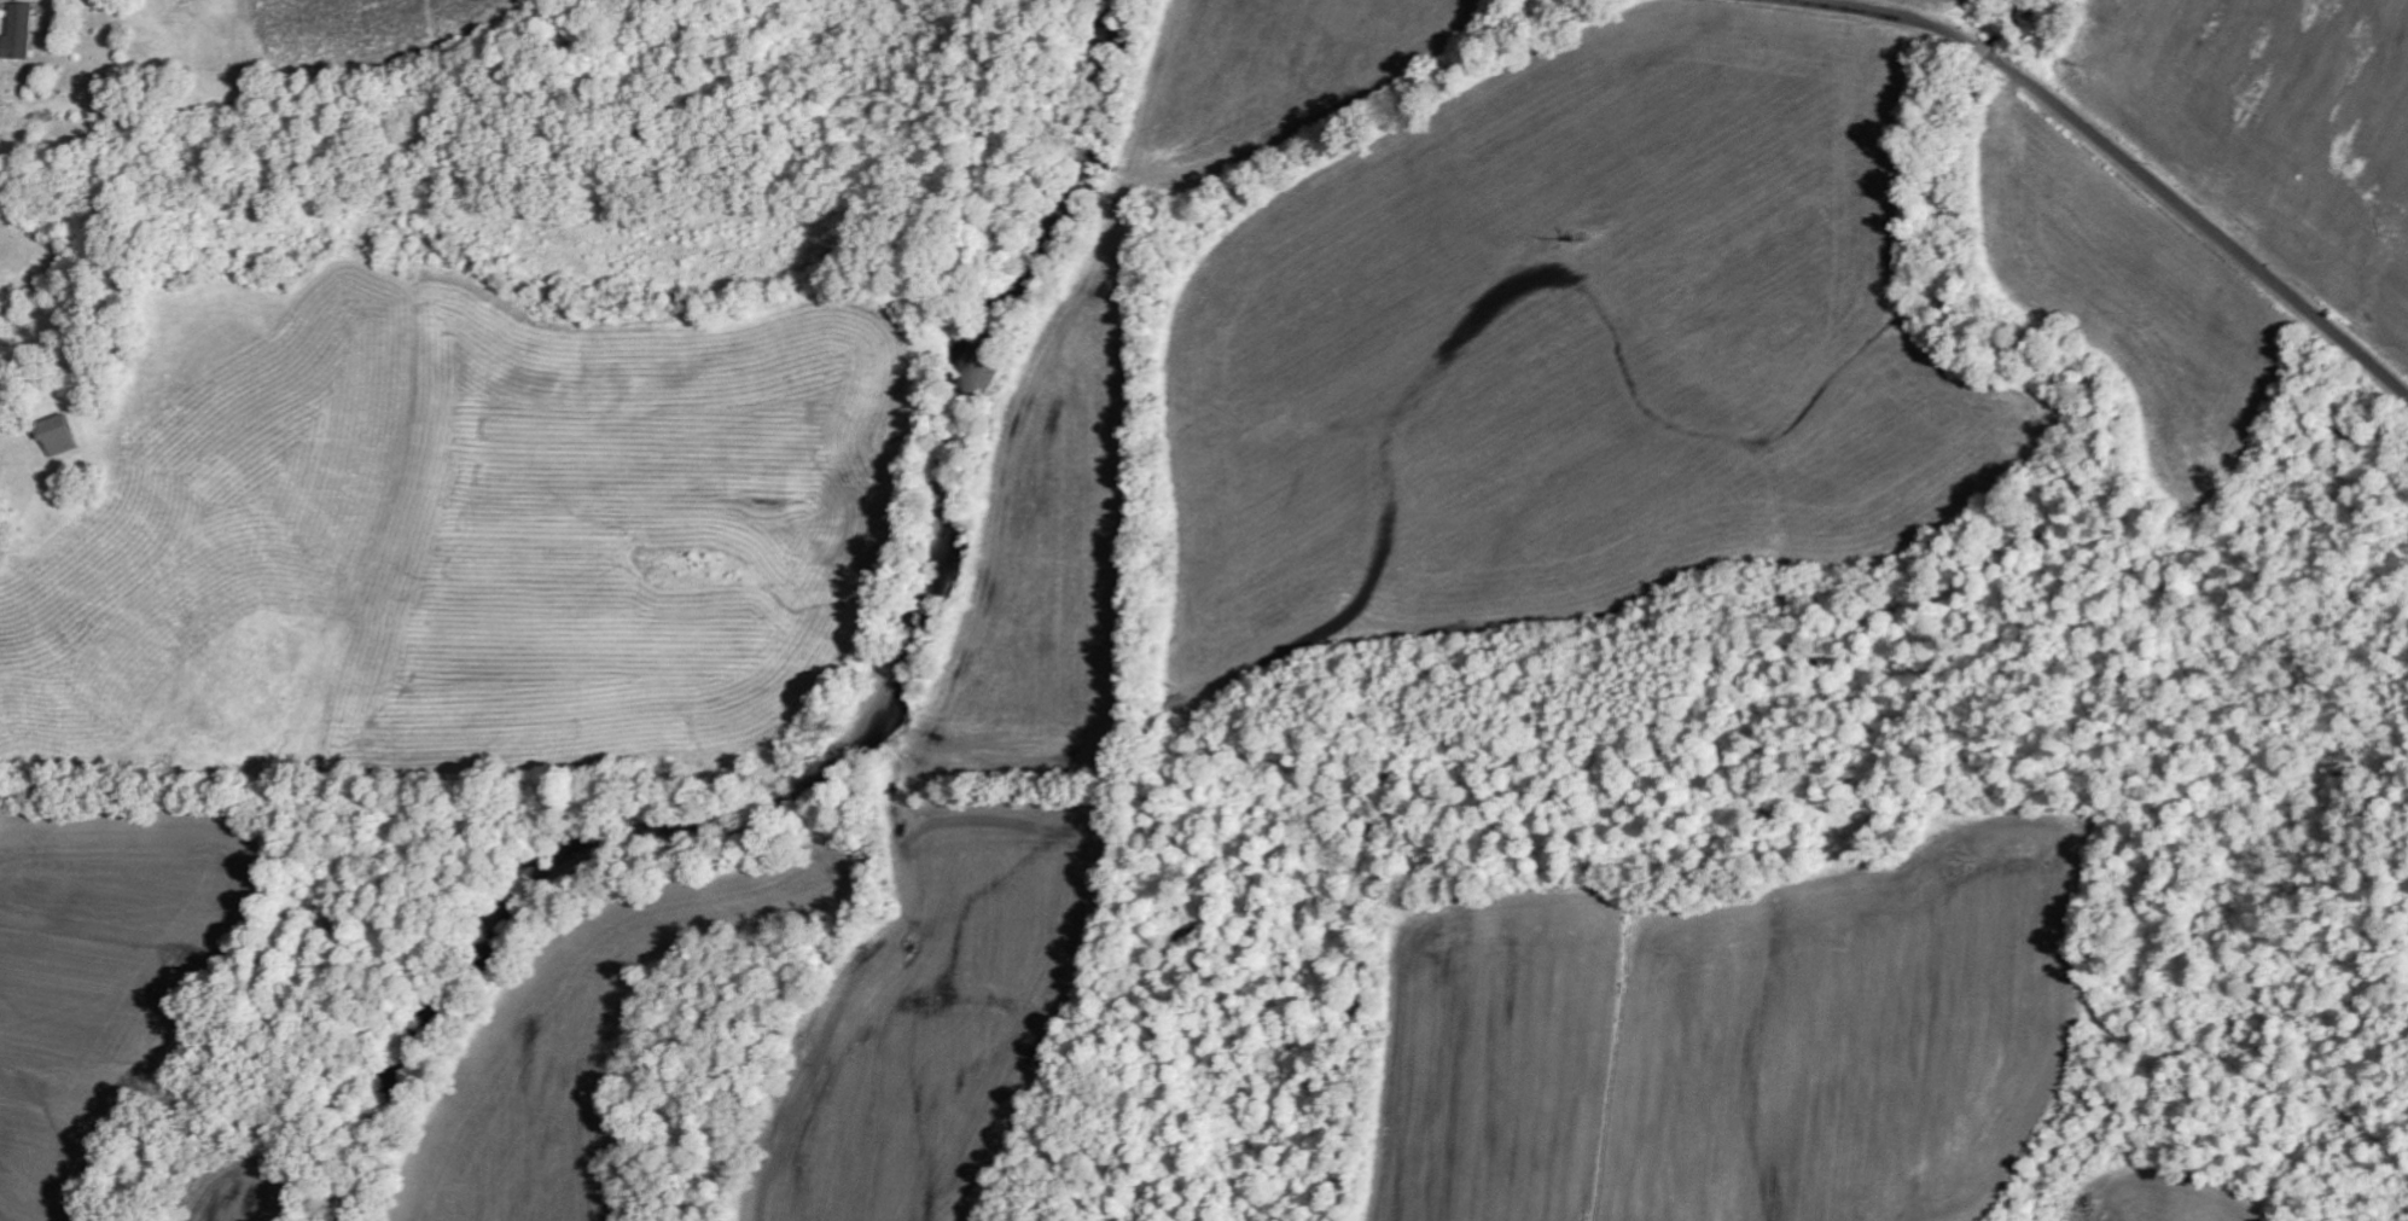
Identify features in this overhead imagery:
building: (27, 29)
road: (2115, 153)
building: (65, 434)

